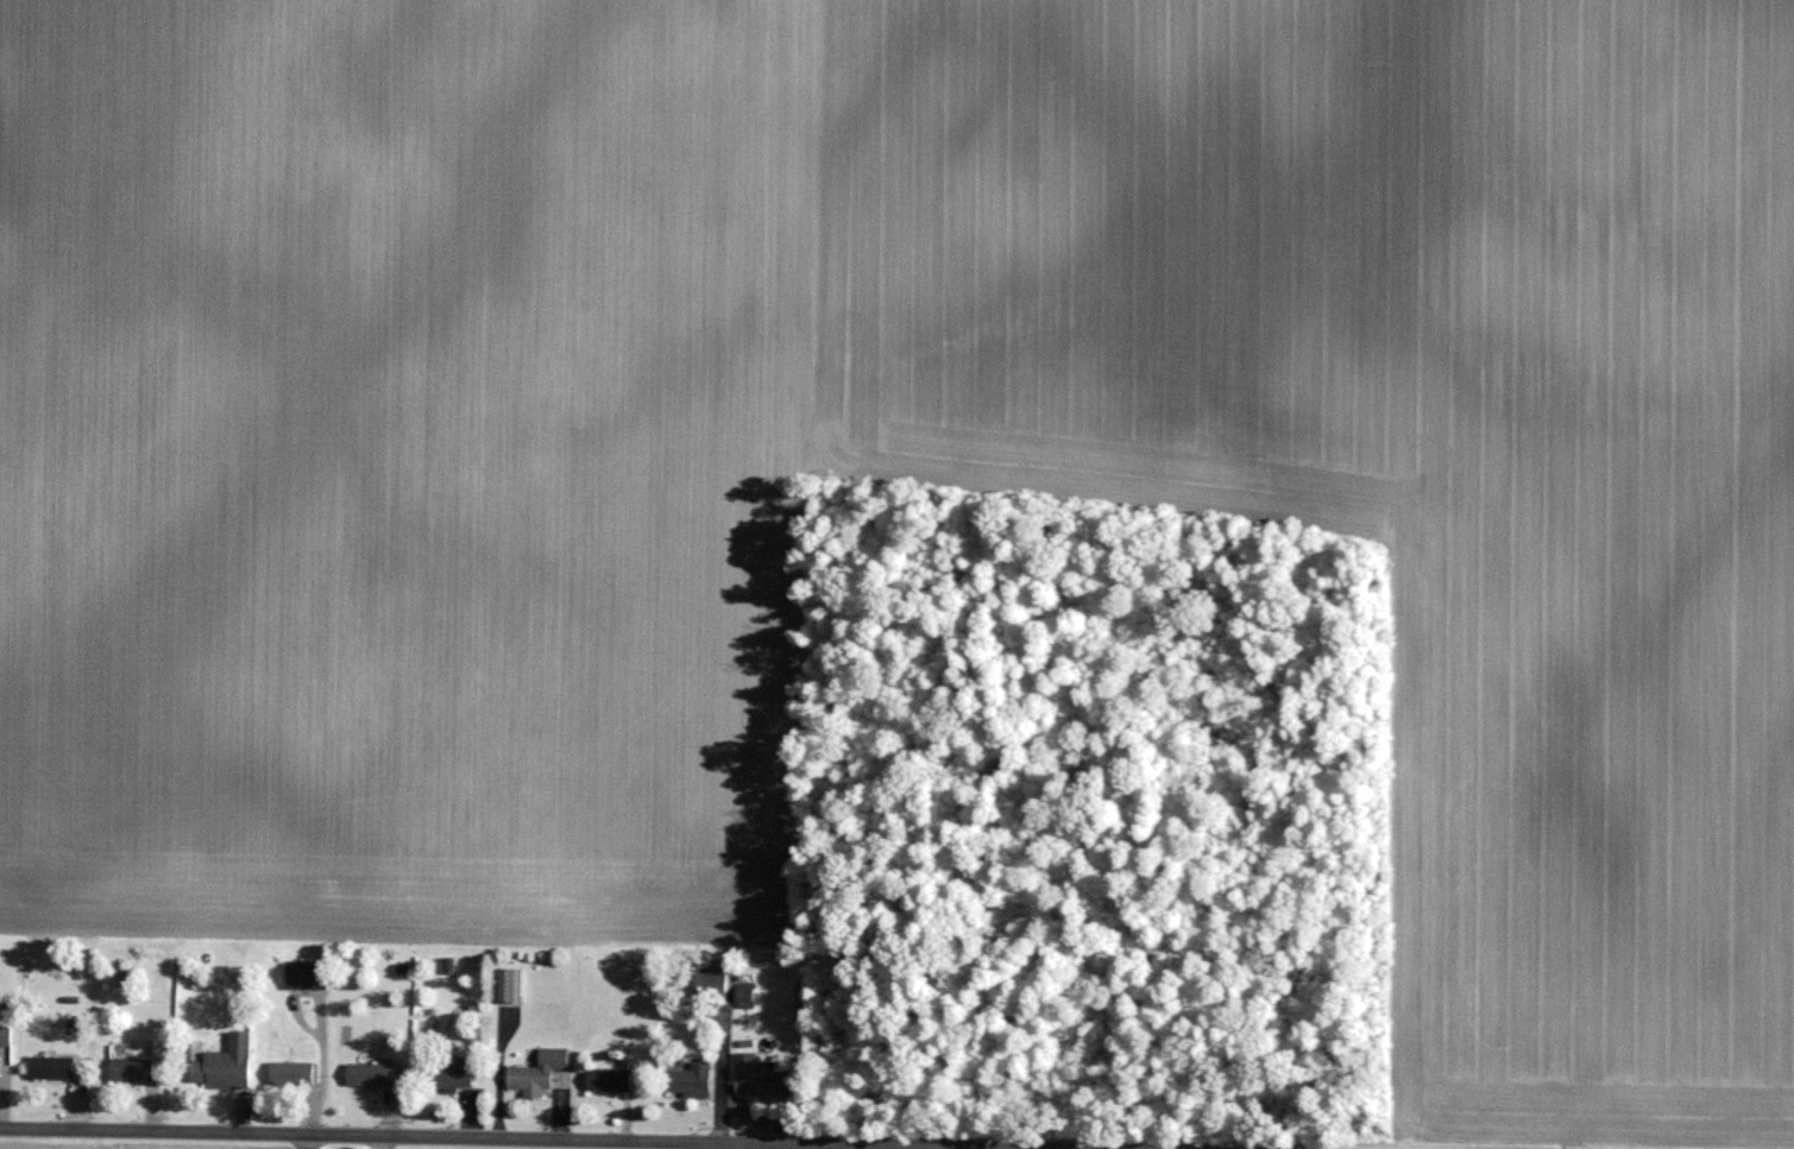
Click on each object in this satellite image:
crop: (908, 450)
road: (720, 1069)
road: (316, 1075)
road: (749, 1111)
road: (540, 1142)

